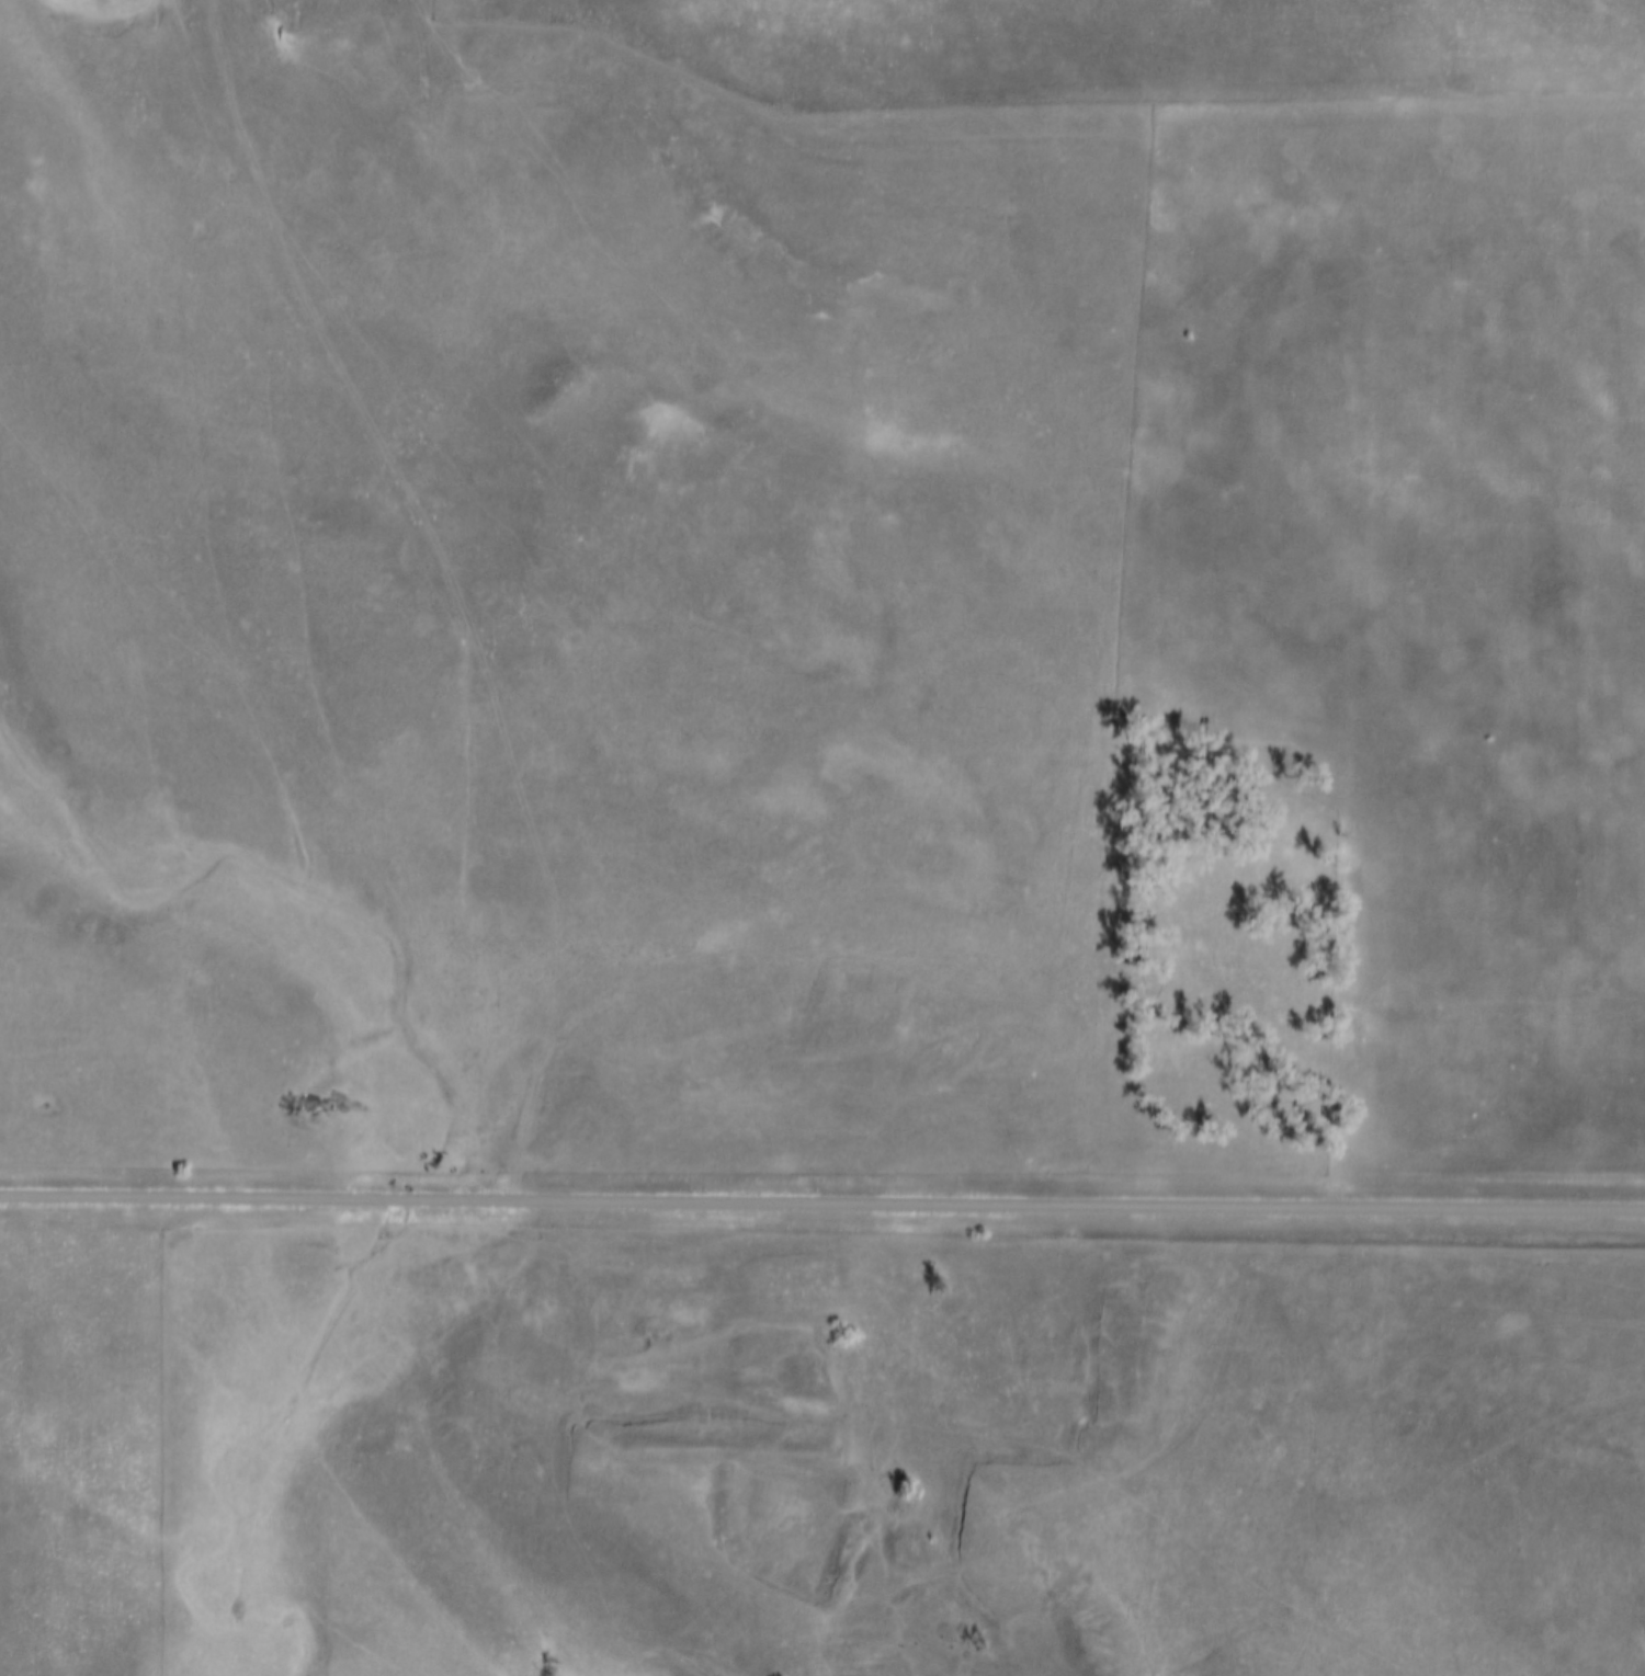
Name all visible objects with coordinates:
road: (822, 1205)

